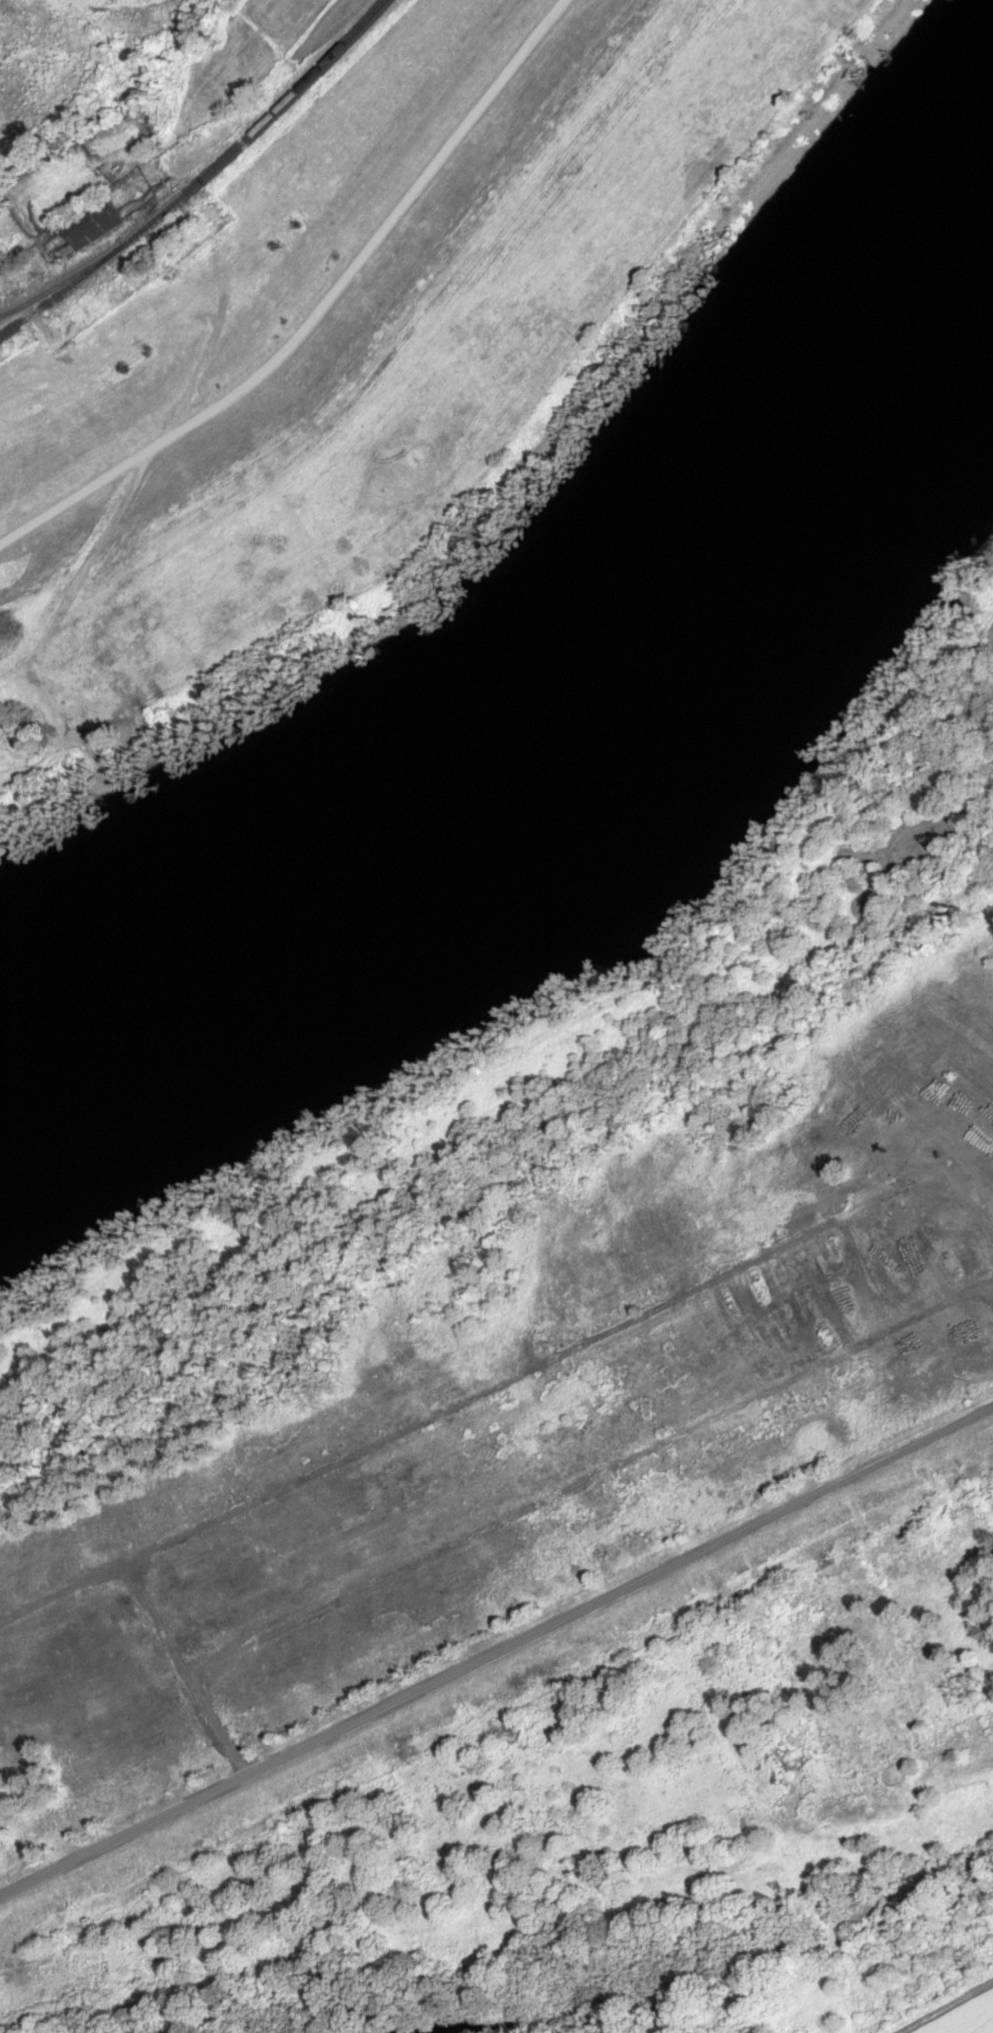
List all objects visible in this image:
railway: (203, 179)
road: (318, 306)
road: (497, 1654)

